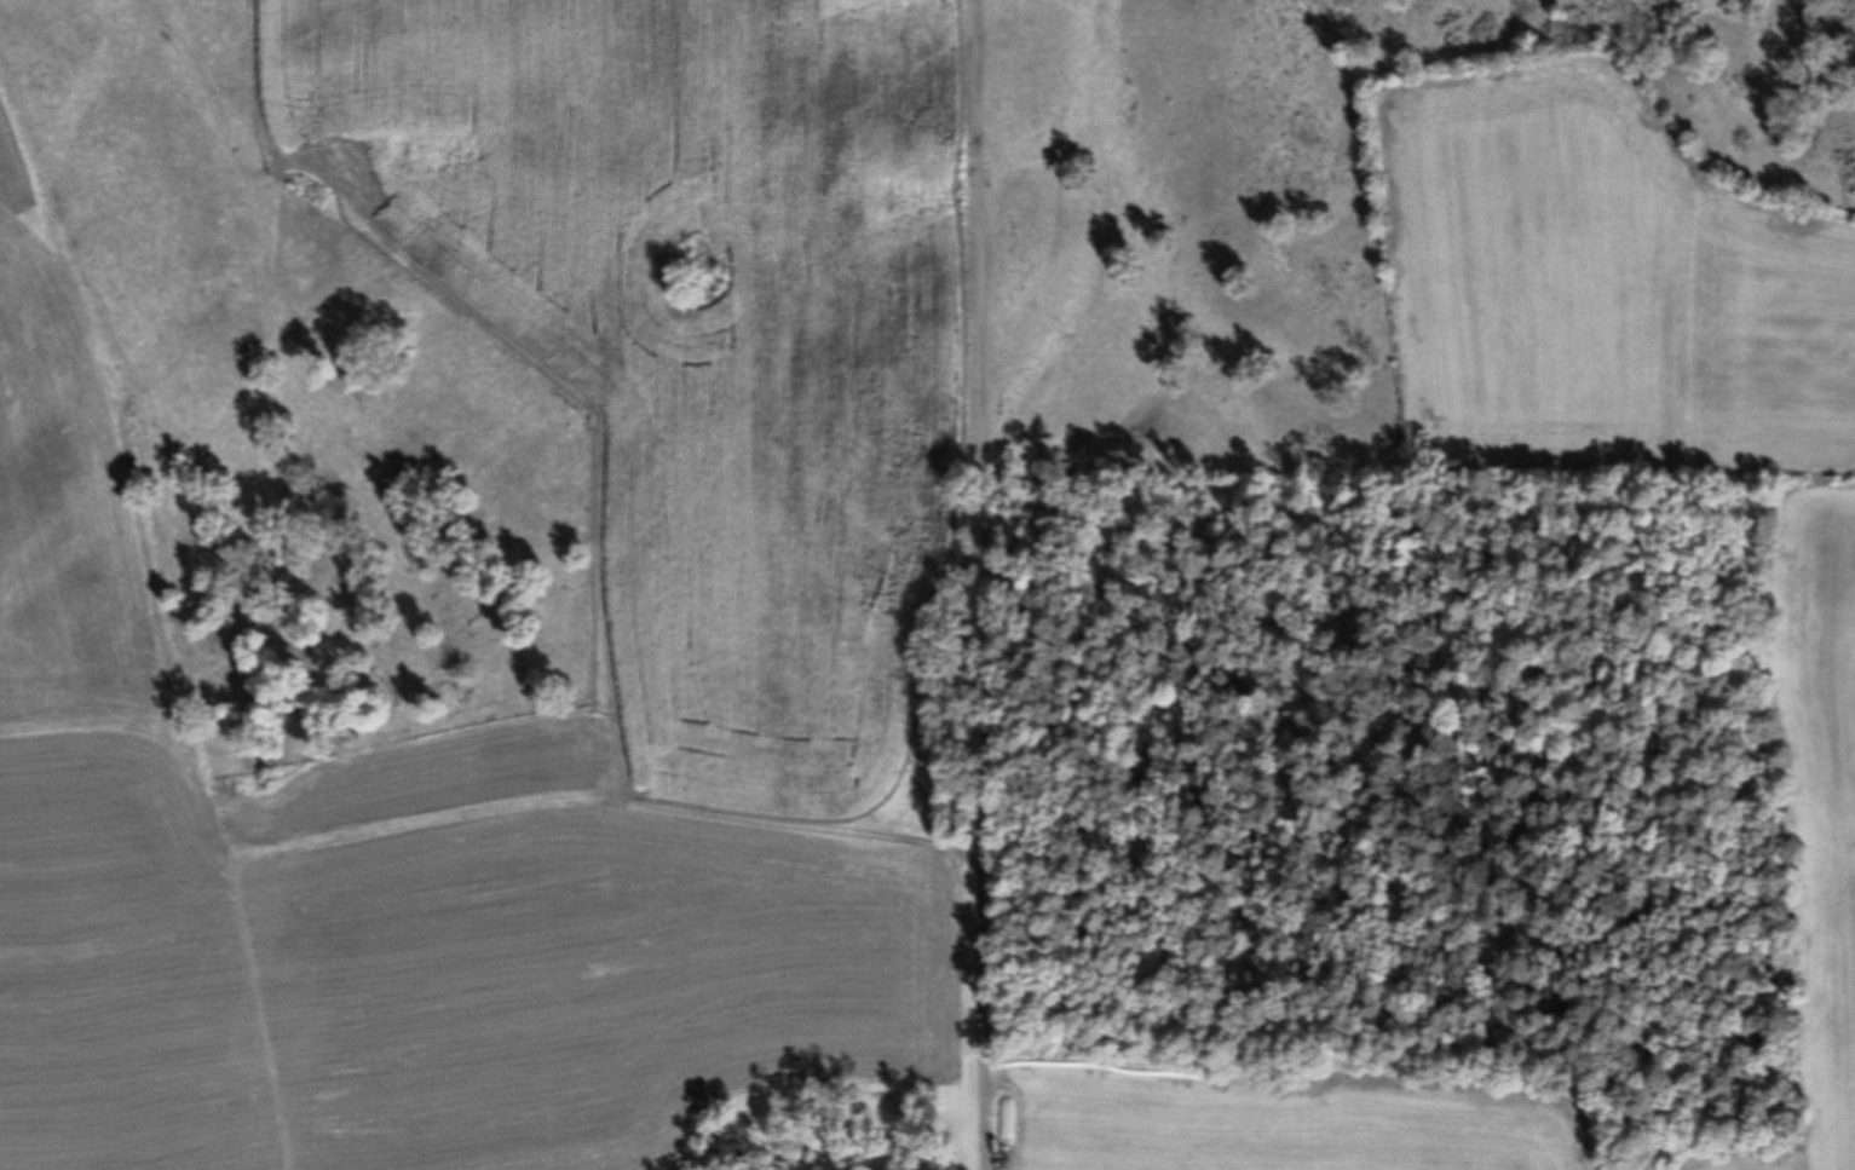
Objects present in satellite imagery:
road: (983, 439)
road: (984, 1025)

